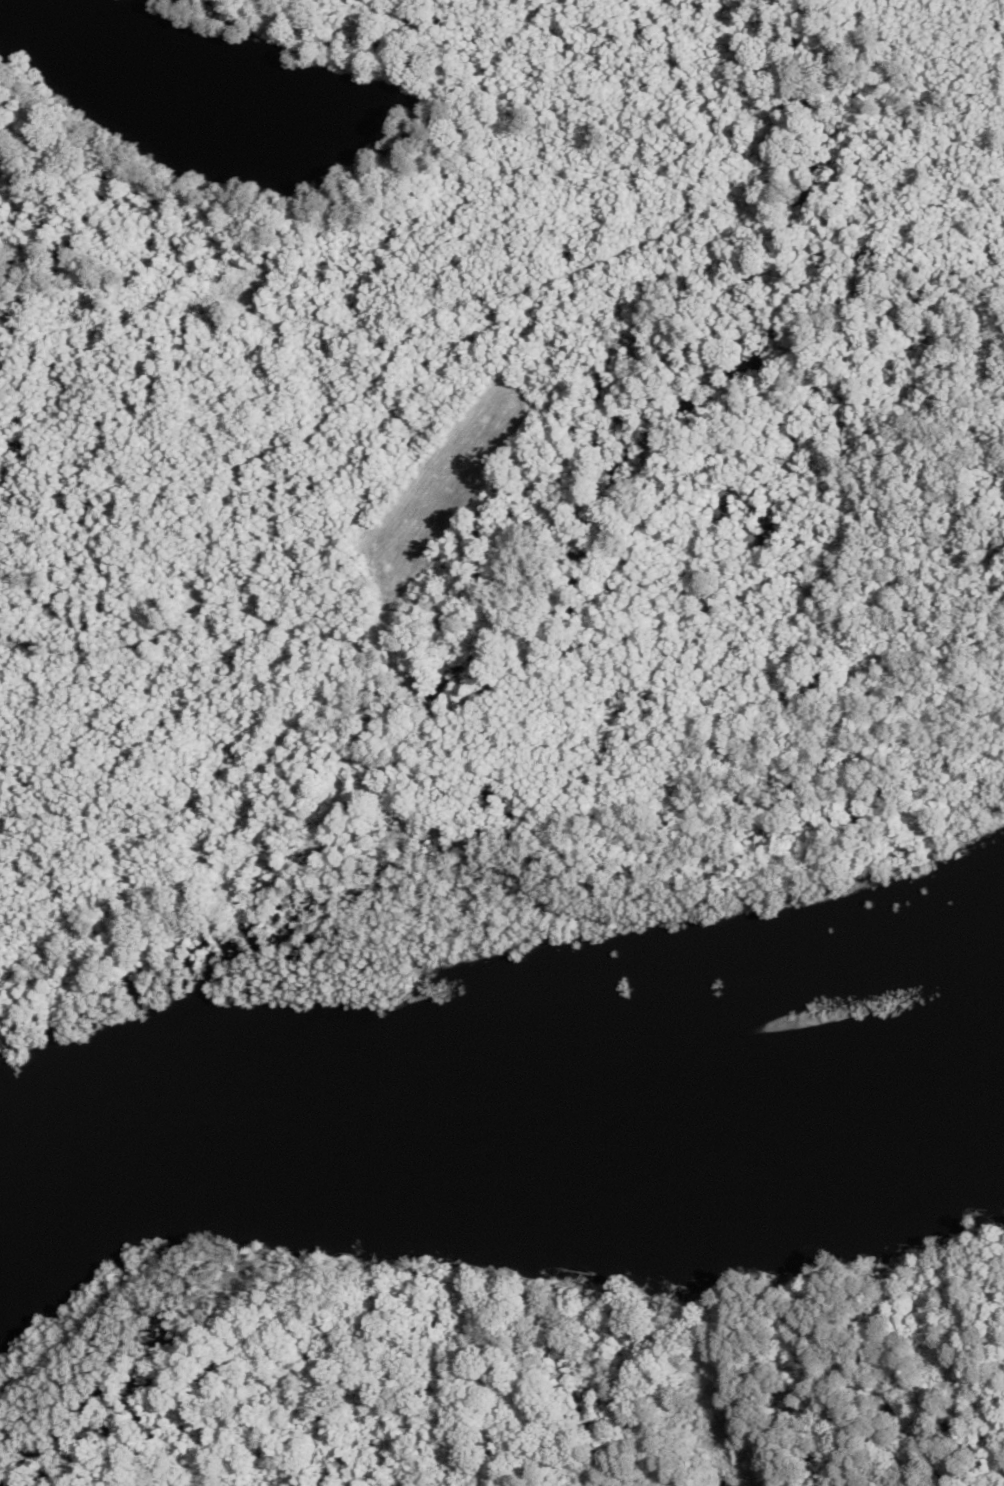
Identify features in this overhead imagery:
river: (490, 1081)

